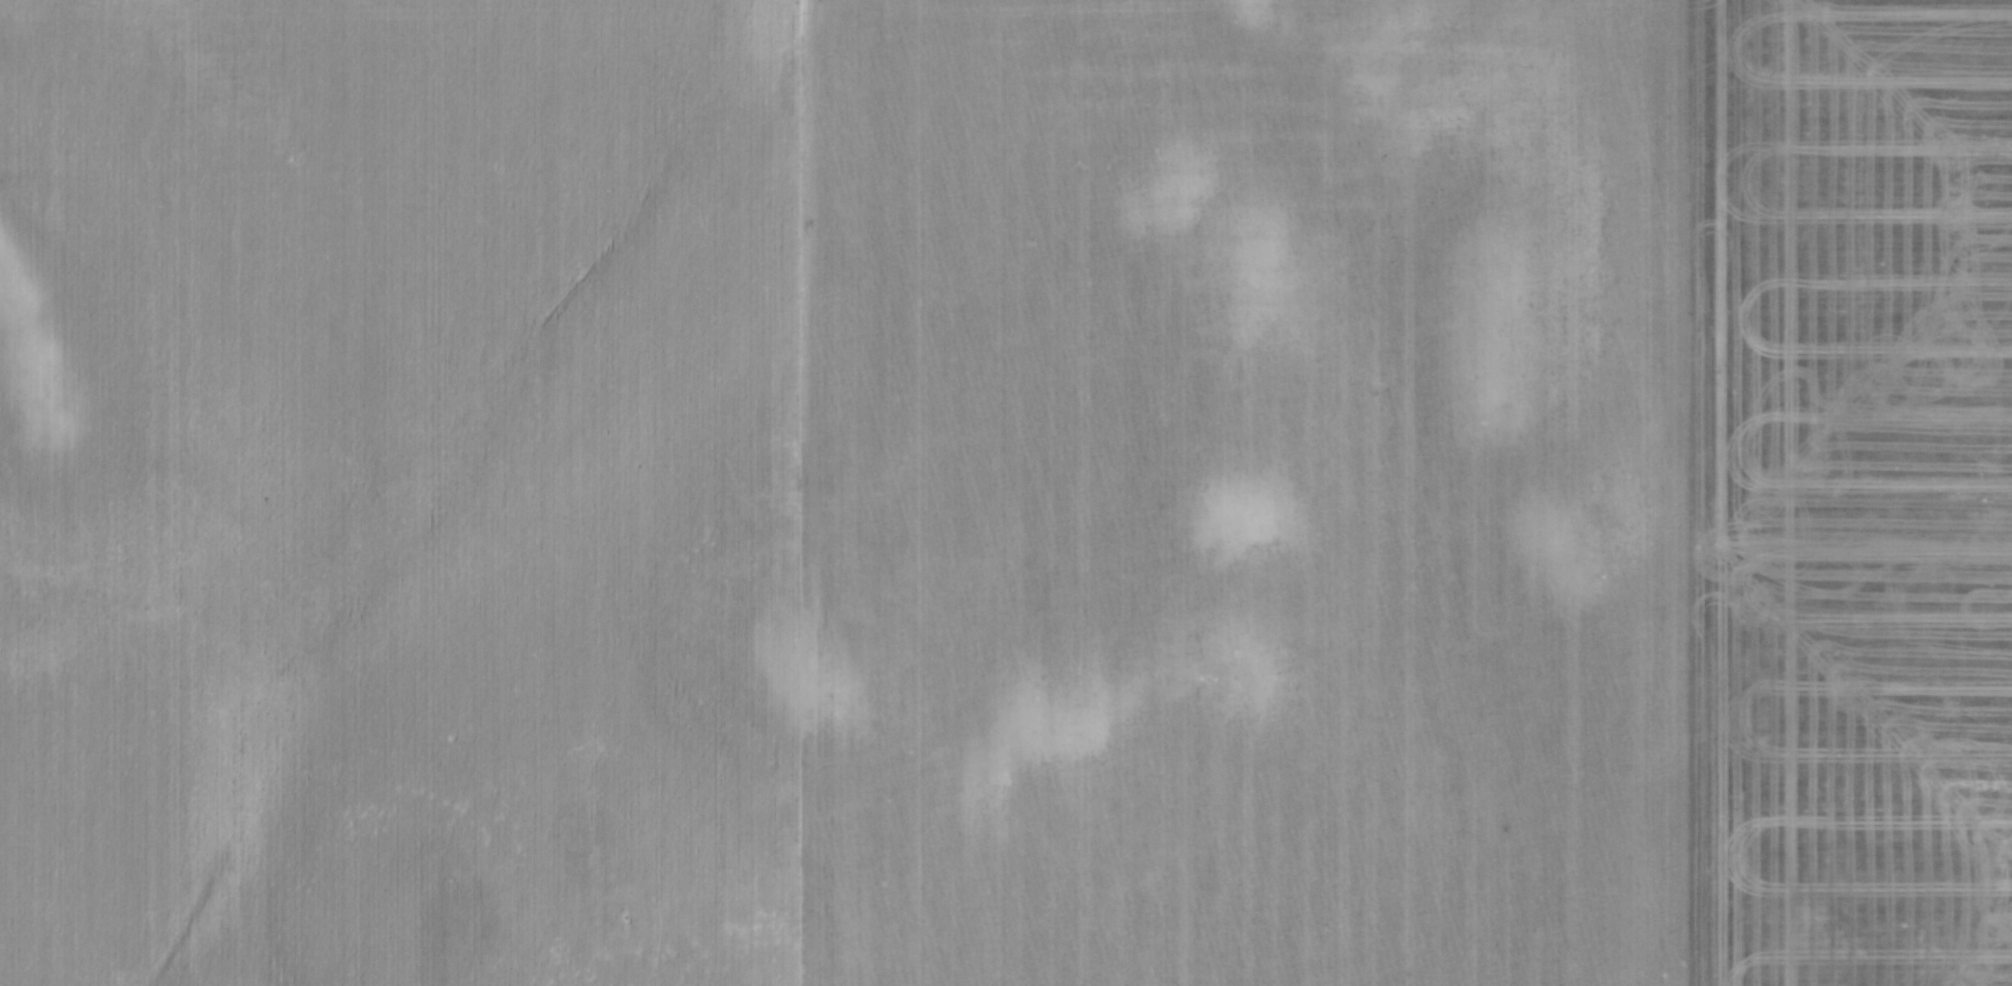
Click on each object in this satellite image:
crop: (1006, 493)

